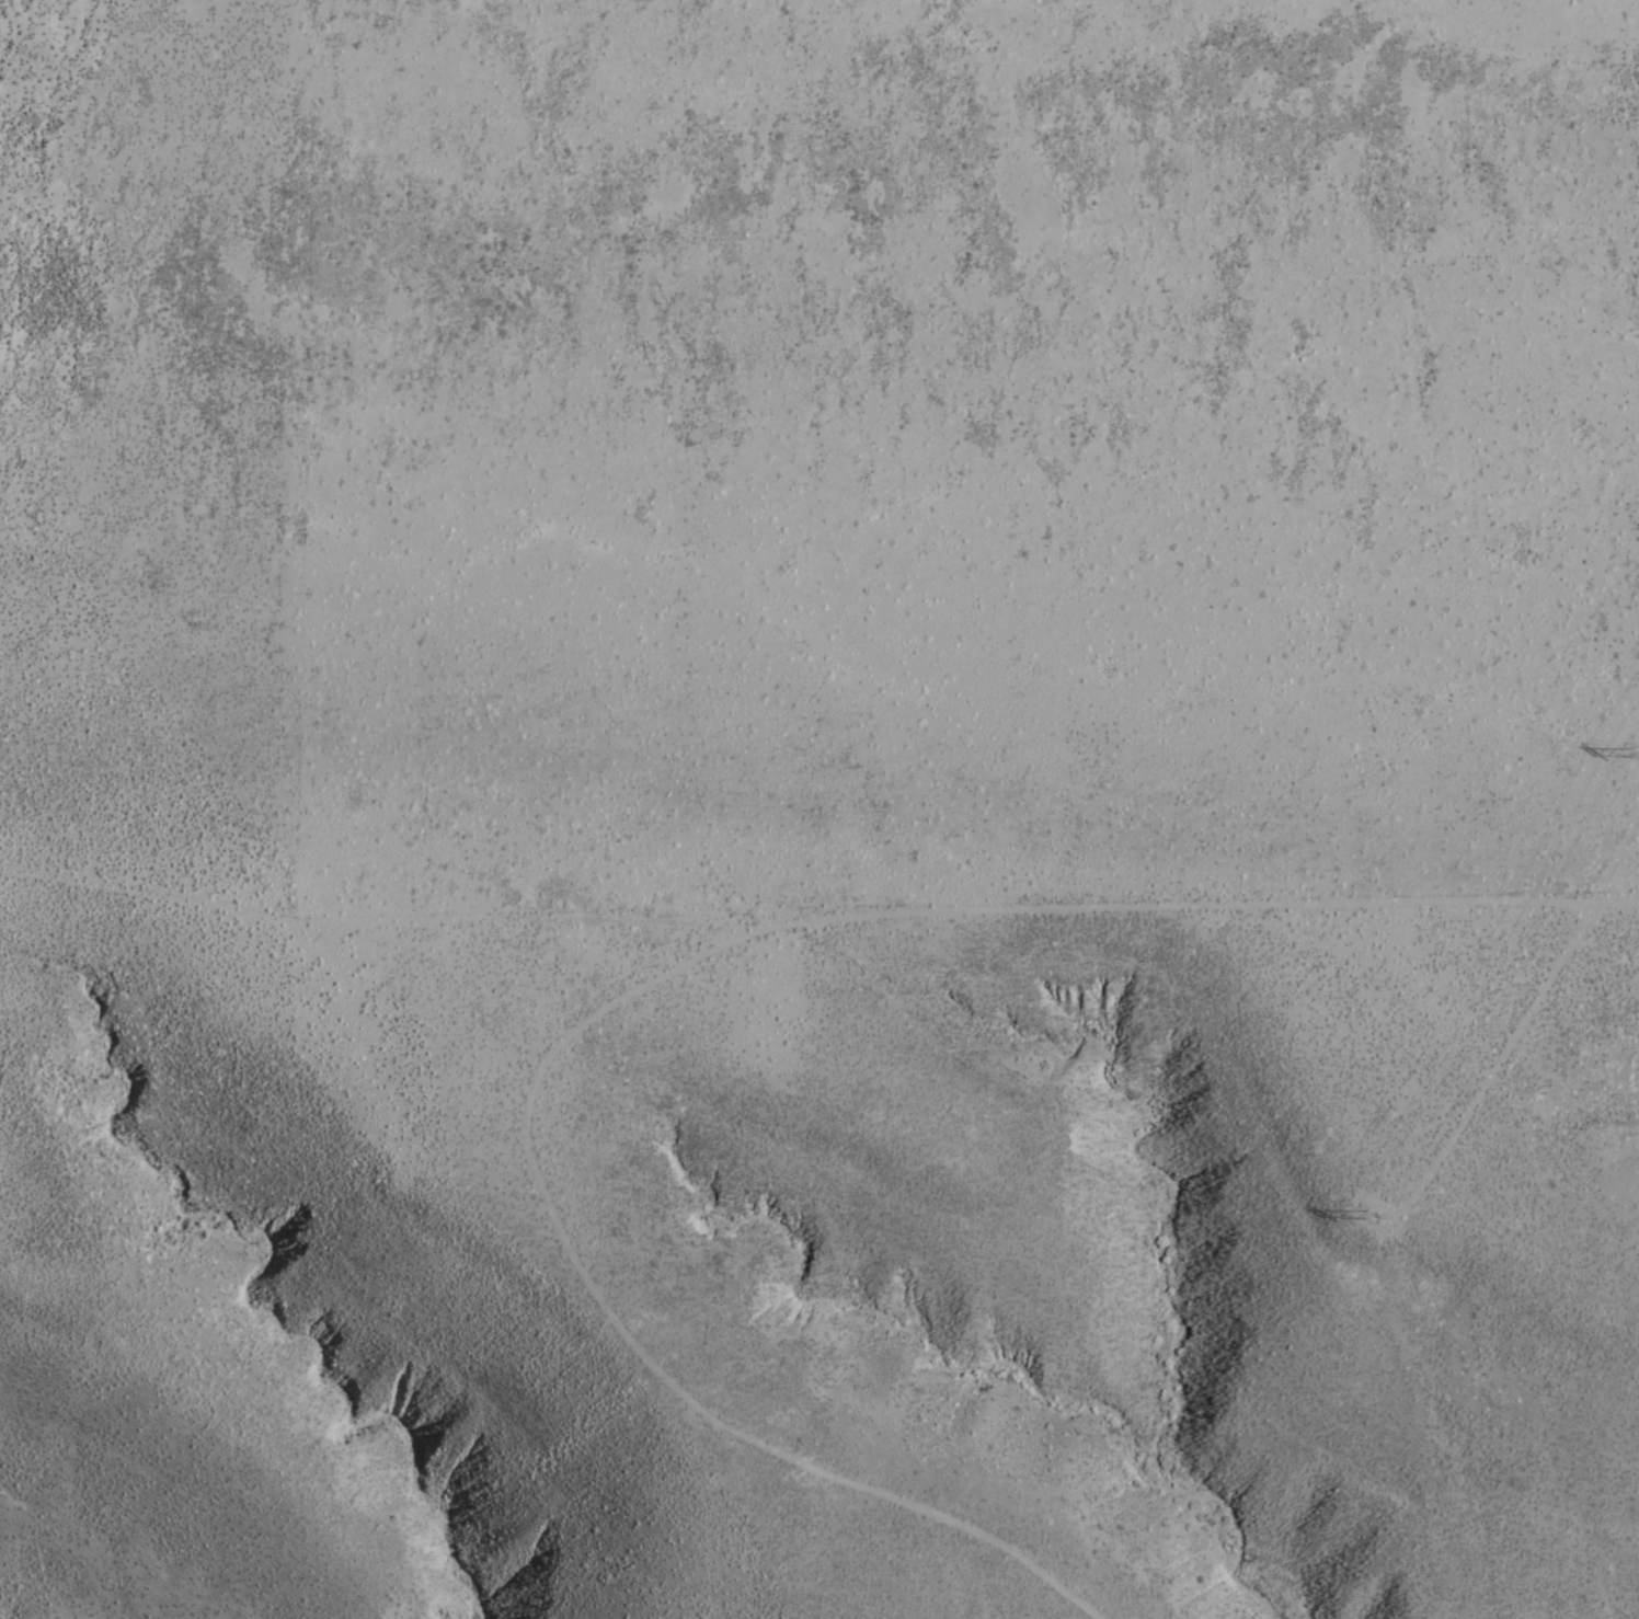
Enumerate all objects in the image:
road: (649, 981)
road: (1524, 1024)
power tower: (1374, 1210)

